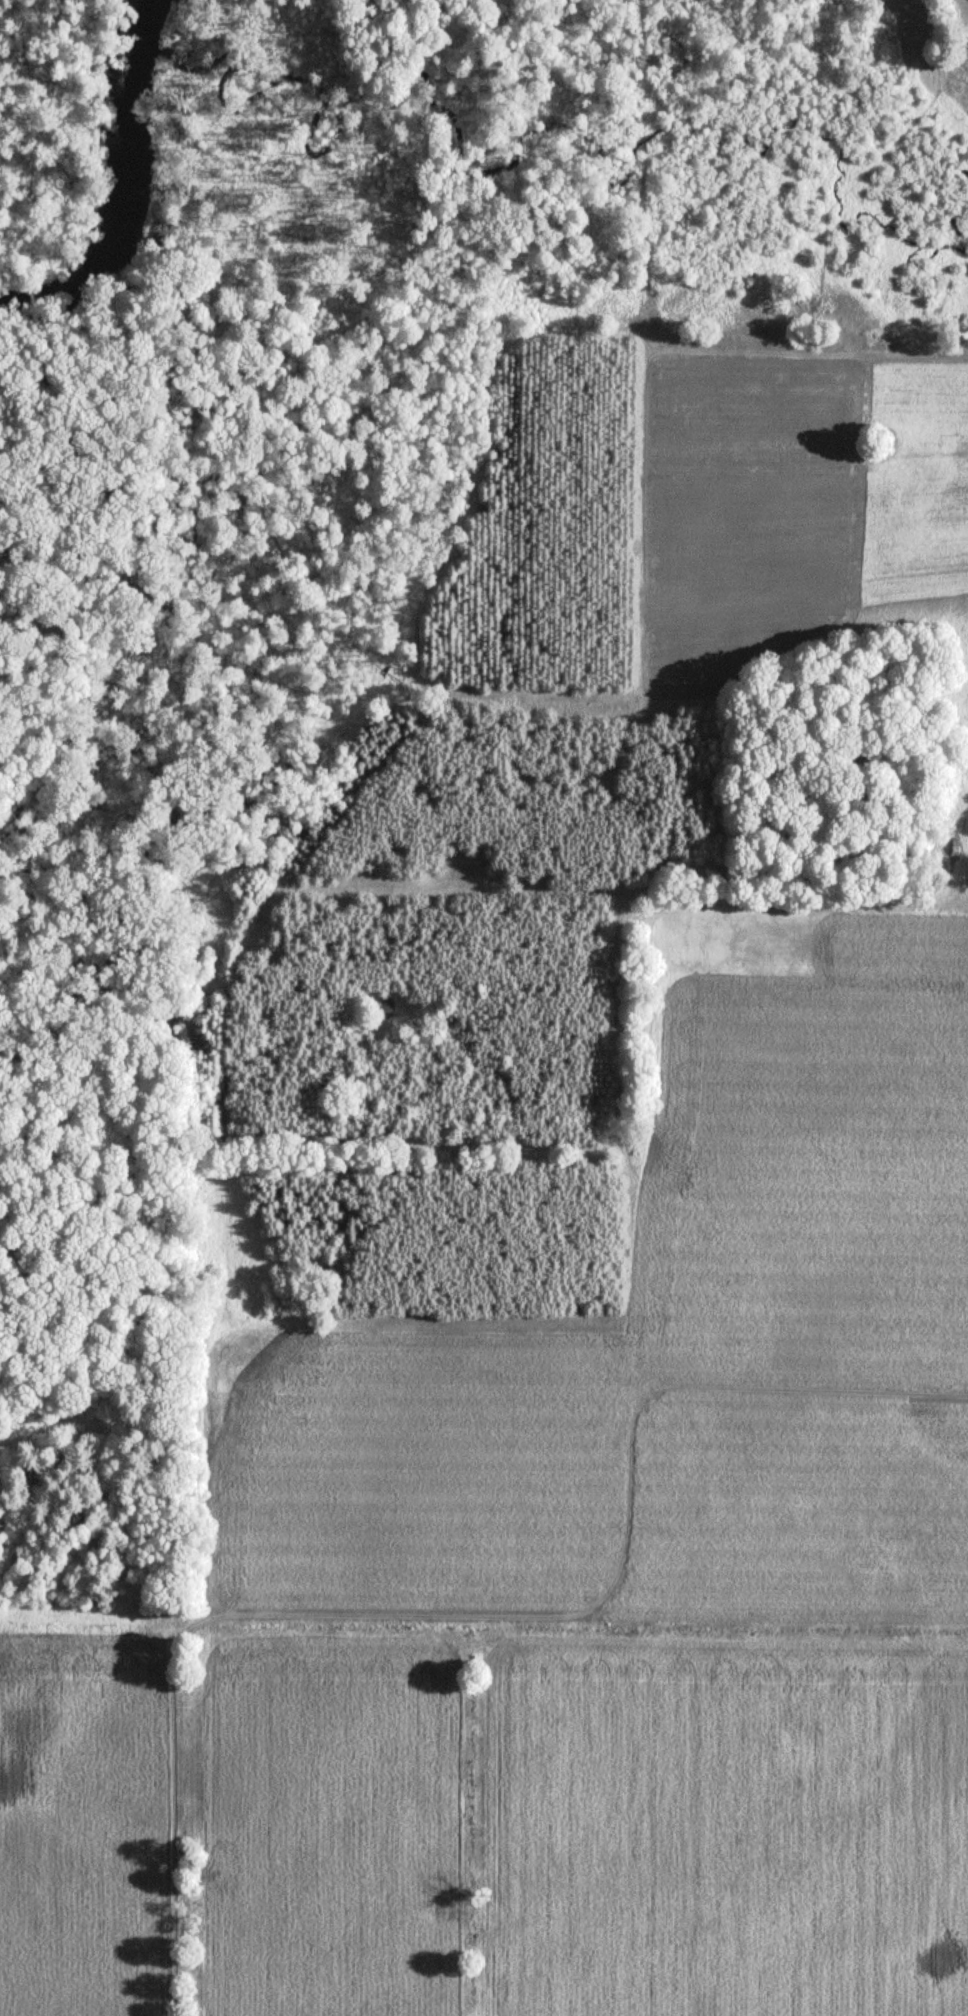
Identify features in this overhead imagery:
river: (130, 189)

